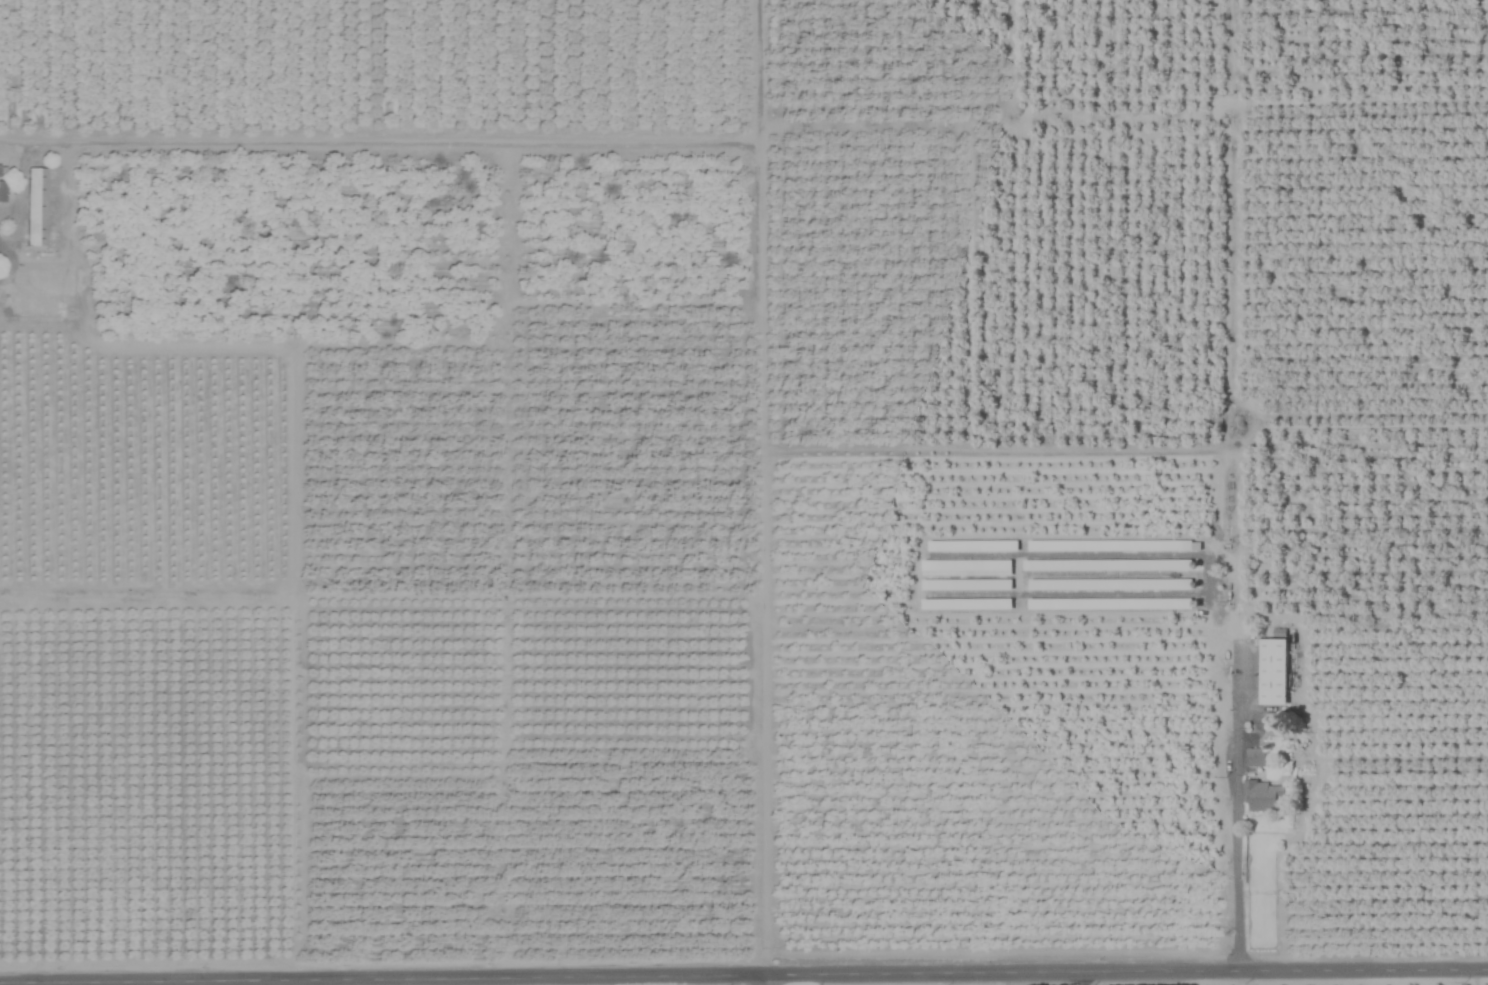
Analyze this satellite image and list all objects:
road: (15, 137)
building: (1, 191)
building: (34, 206)
road: (1, 257)
building: (1108, 545)
building: (1104, 564)
building: (1272, 671)
building: (1262, 796)
road: (1238, 813)
road: (849, 979)
road: (1082, 981)
road: (763, 982)

